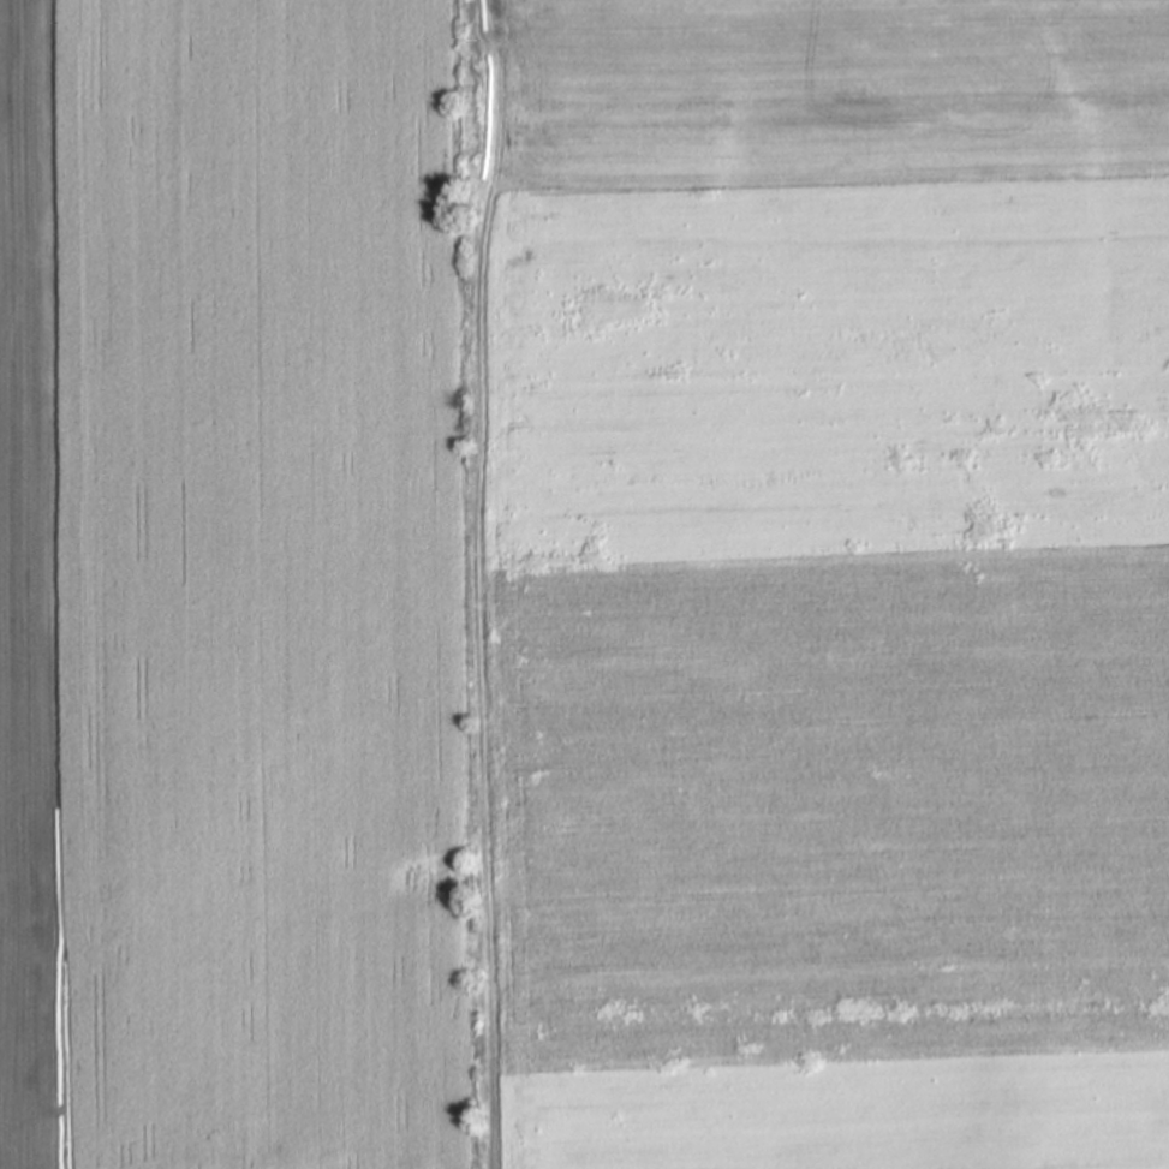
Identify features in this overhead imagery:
road: (478, 718)

